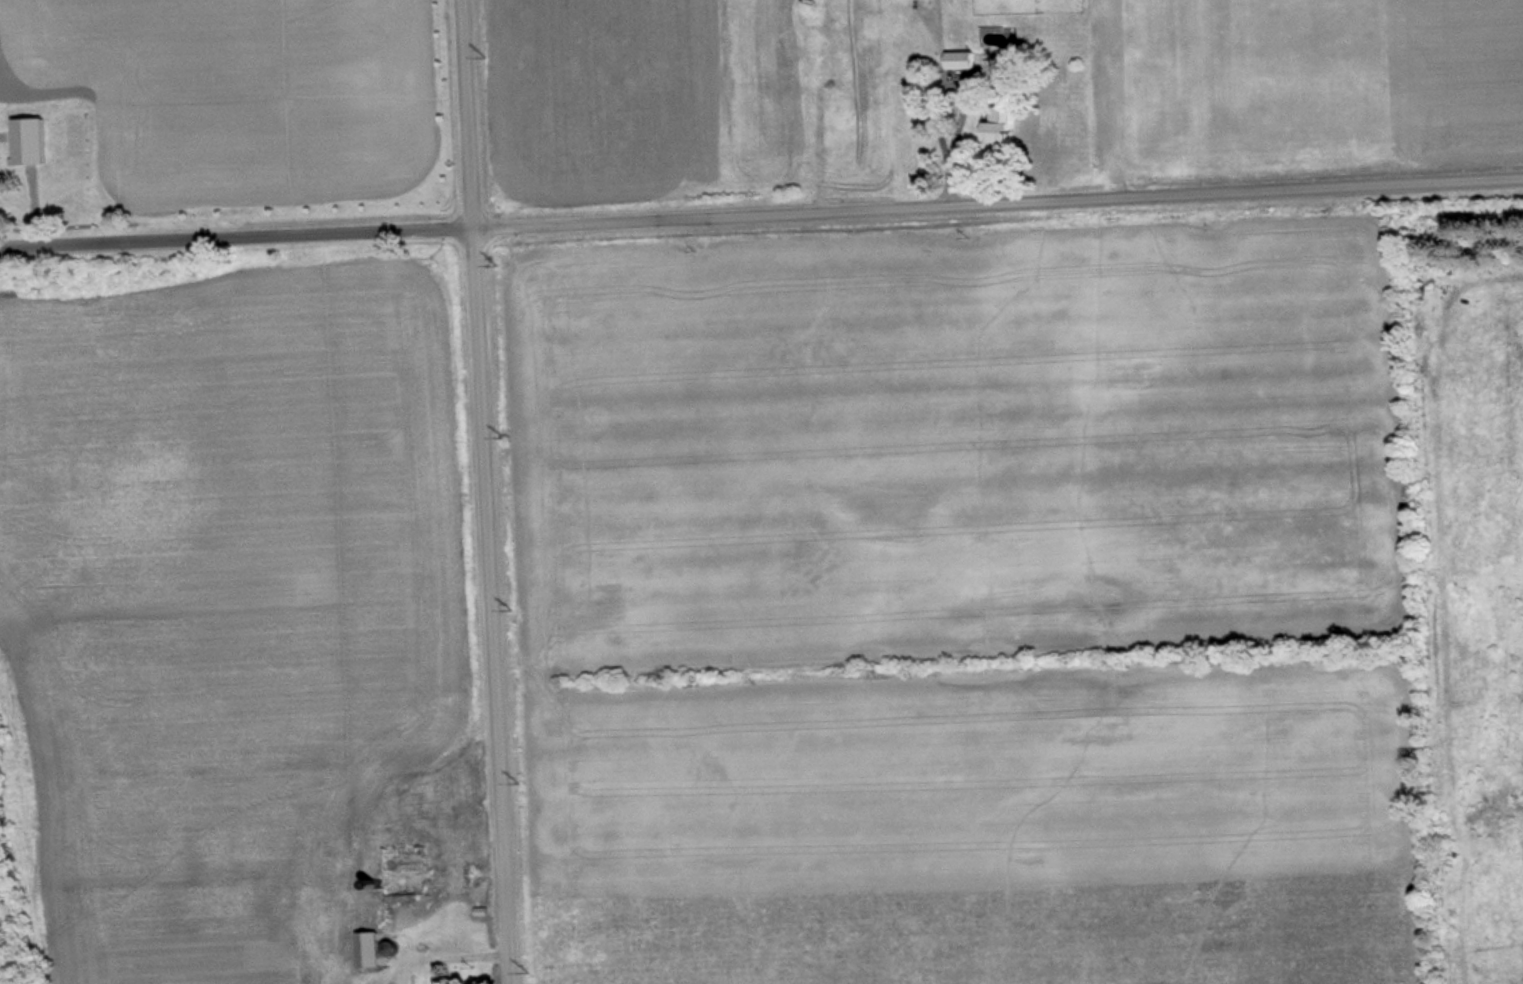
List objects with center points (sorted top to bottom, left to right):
building: (967, 60)
building: (1007, 128)
building: (44, 134)
road: (761, 215)
road: (484, 491)
building: (415, 872)
building: (375, 950)

